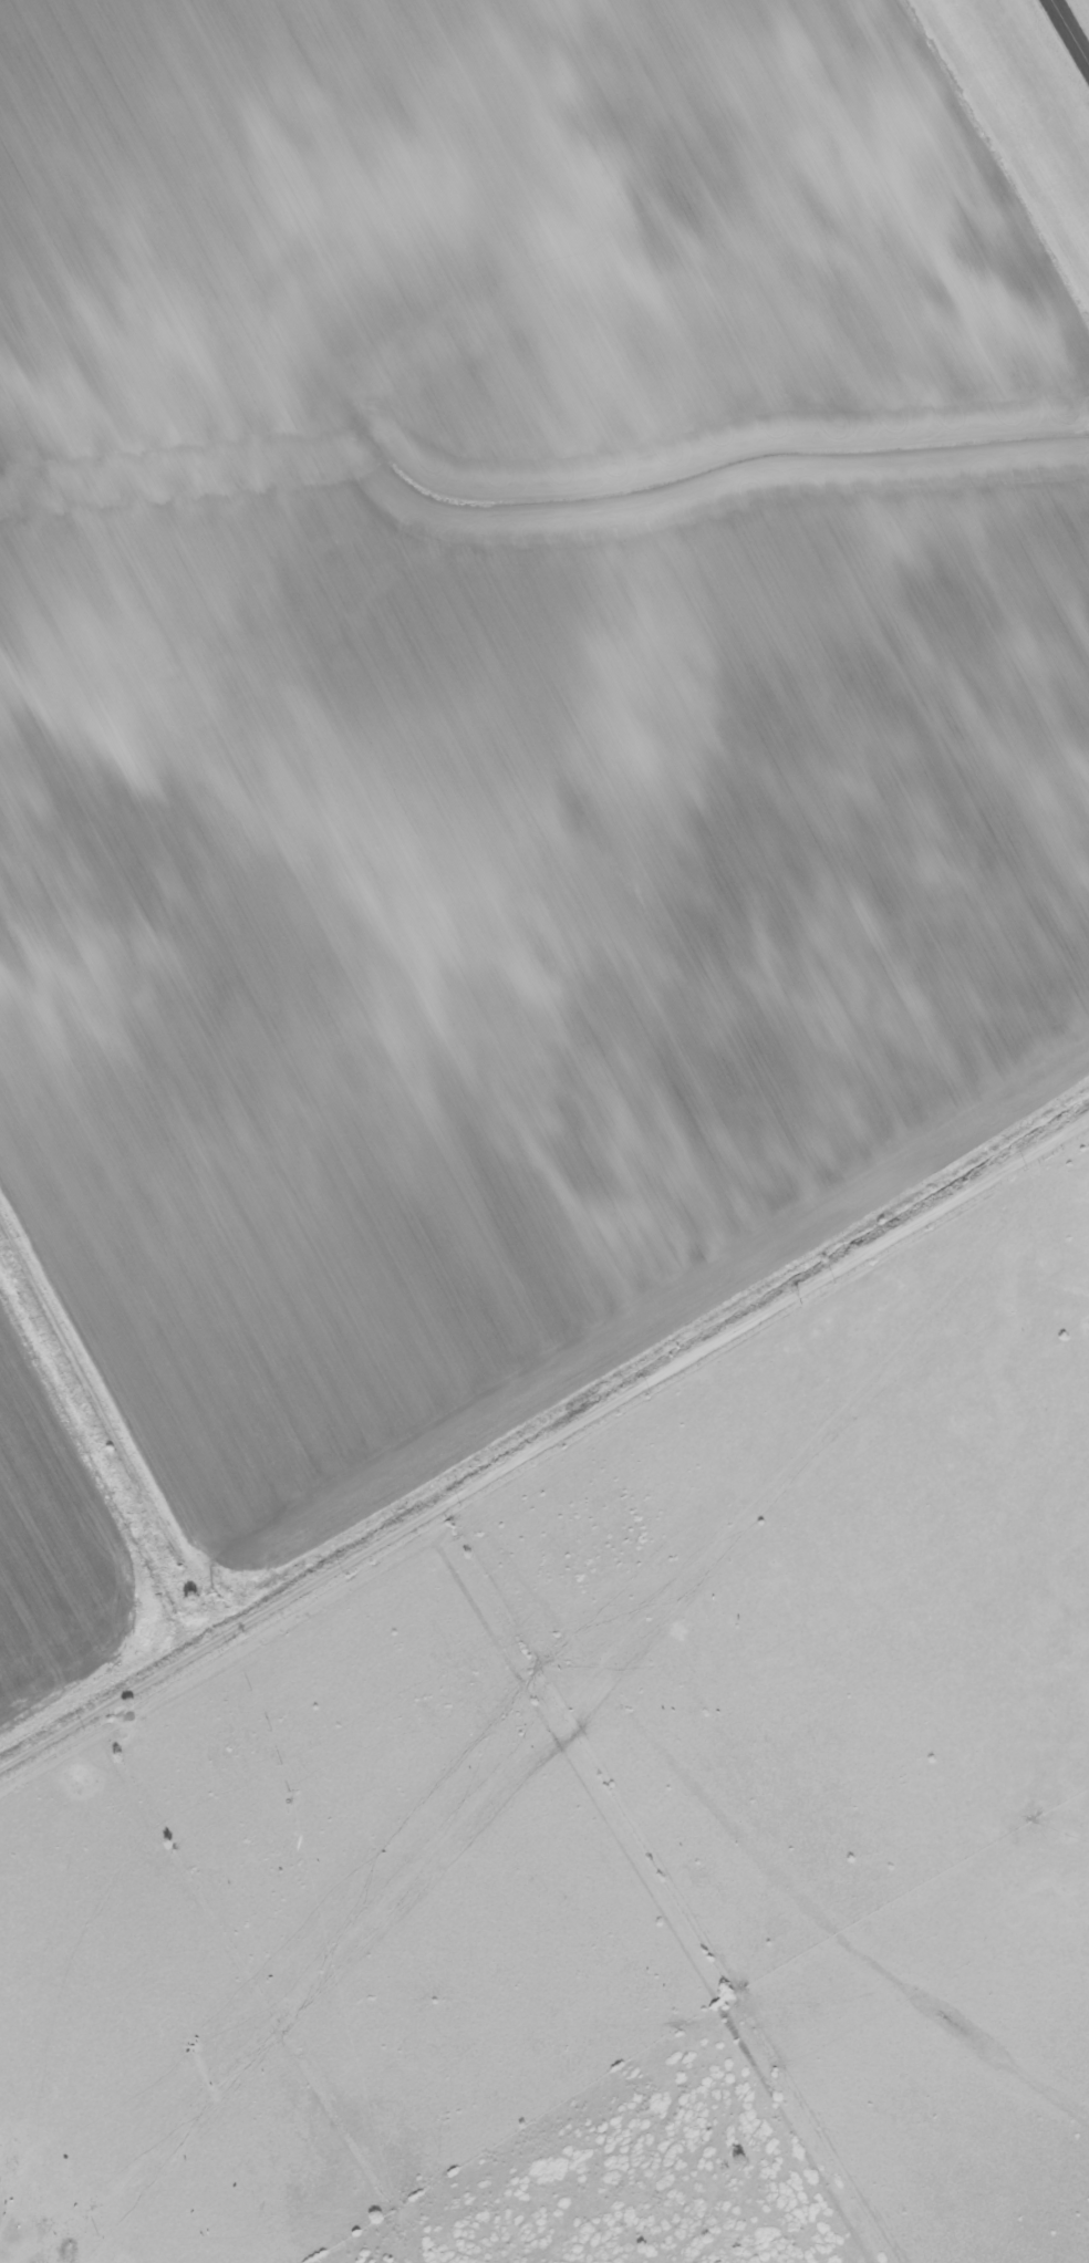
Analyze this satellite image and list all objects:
airport taxiway: (1069, 32)
airport: (1019, 120)

